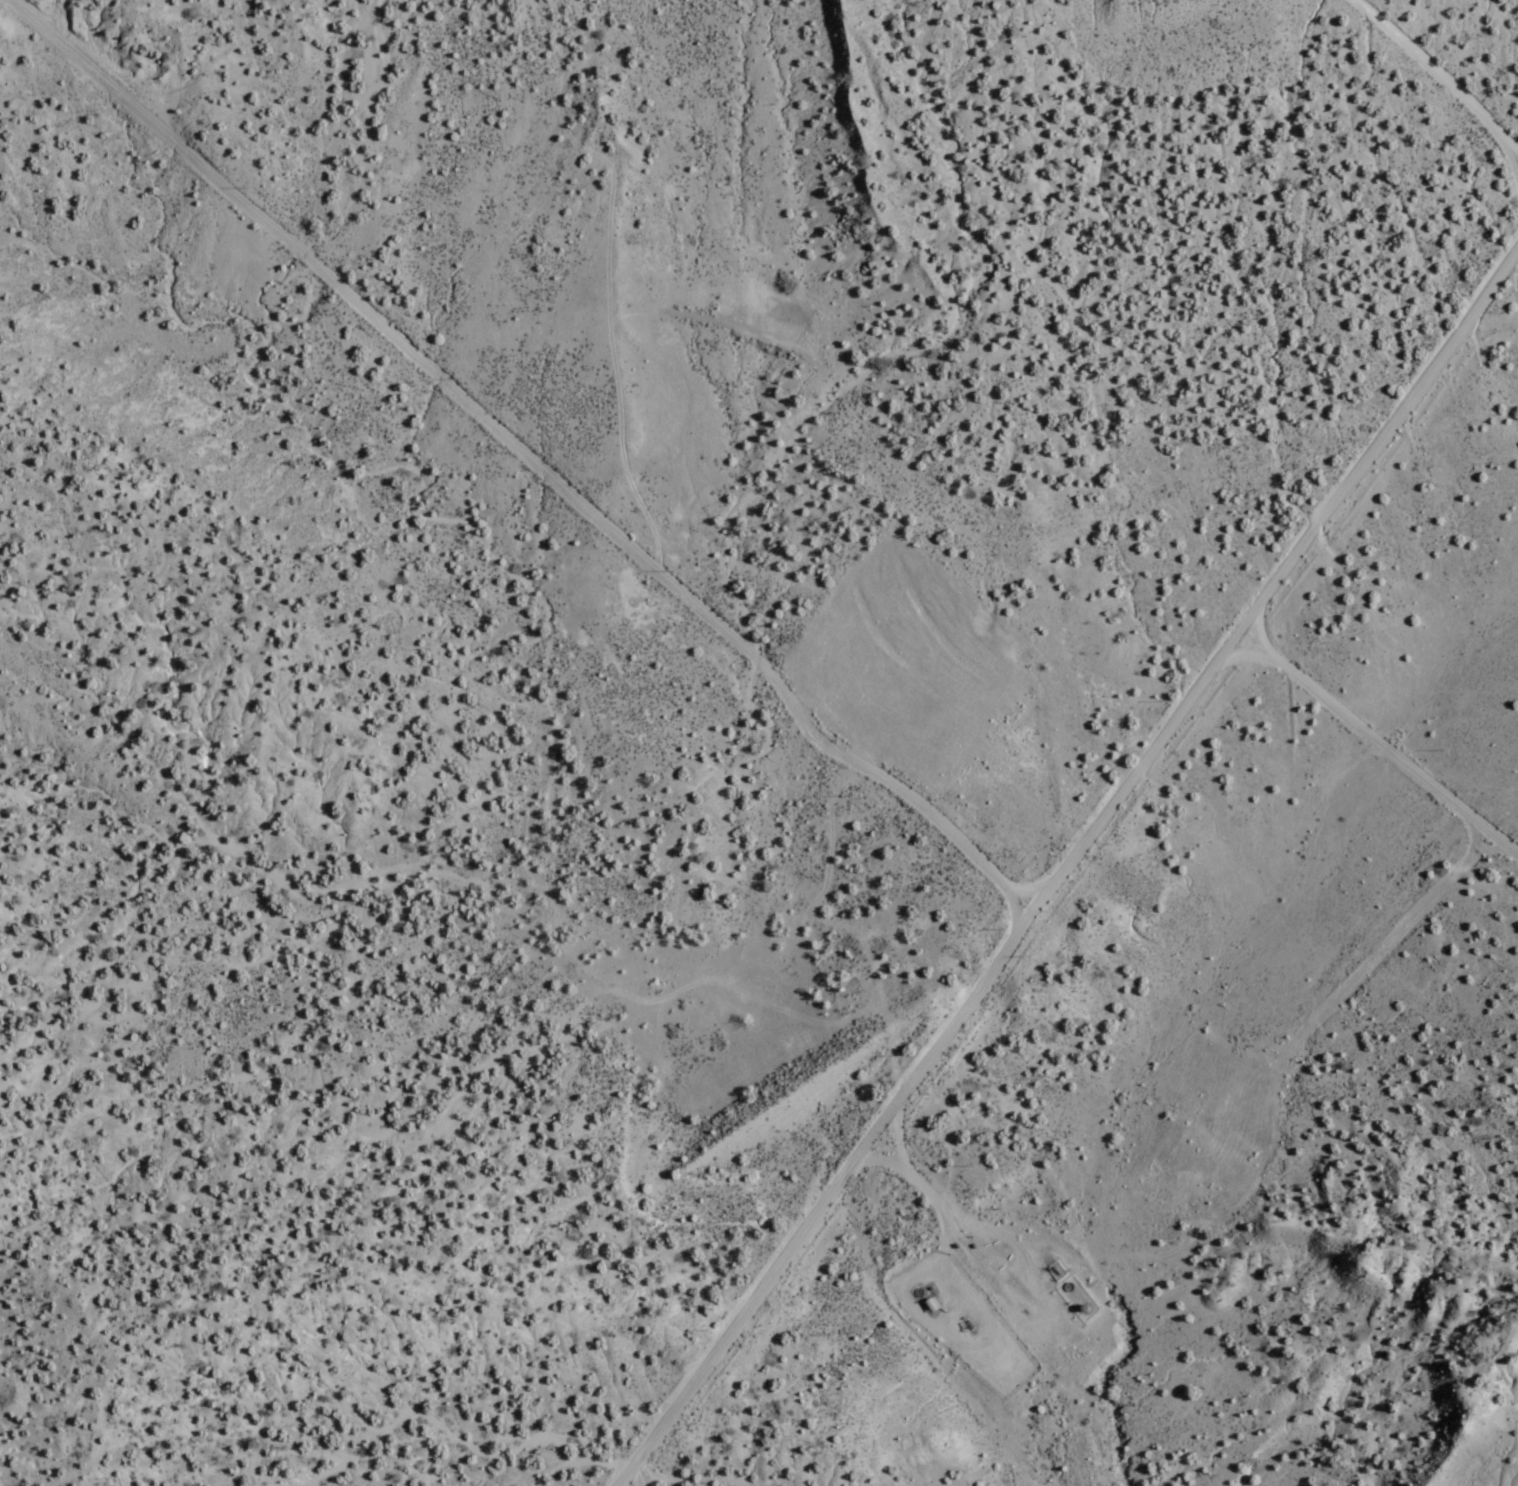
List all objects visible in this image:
road: (530, 445)
road: (1248, 631)
road: (1366, 742)
road: (1061, 859)
road: (887, 1131)
road: (960, 1355)

